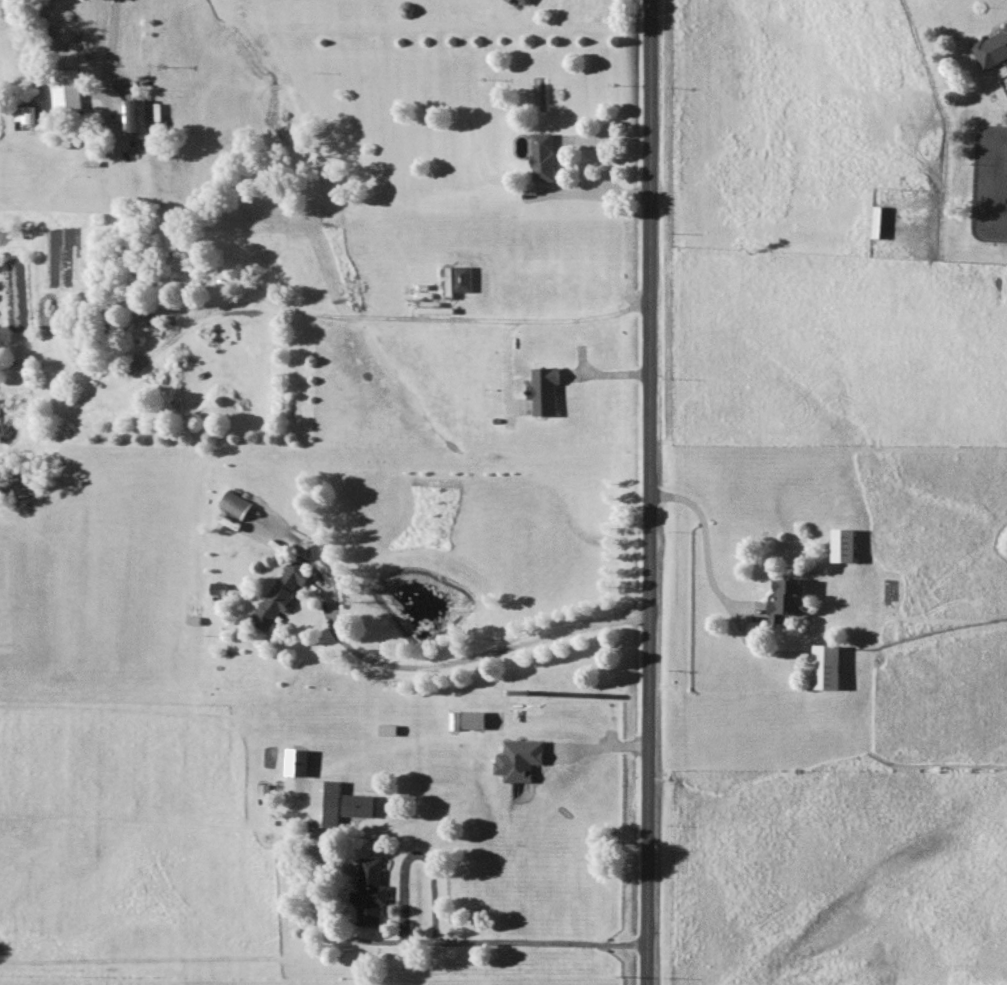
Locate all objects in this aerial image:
road: (113, 40)
building: (992, 49)
building: (67, 90)
building: (25, 113)
building: (135, 115)
building: (543, 156)
road: (595, 191)
building: (878, 222)
building: (169, 242)
building: (459, 279)
road: (395, 316)
building: (545, 390)
road: (654, 492)
building: (236, 503)
building: (844, 544)
road: (713, 582)
building: (220, 588)
building: (283, 592)
building: (789, 600)
road: (485, 651)
building: (827, 666)
building: (475, 719)
building: (455, 720)
road: (604, 747)
building: (520, 759)
building: (298, 762)
building: (326, 803)
building: (358, 806)
building: (370, 892)
road: (434, 939)

